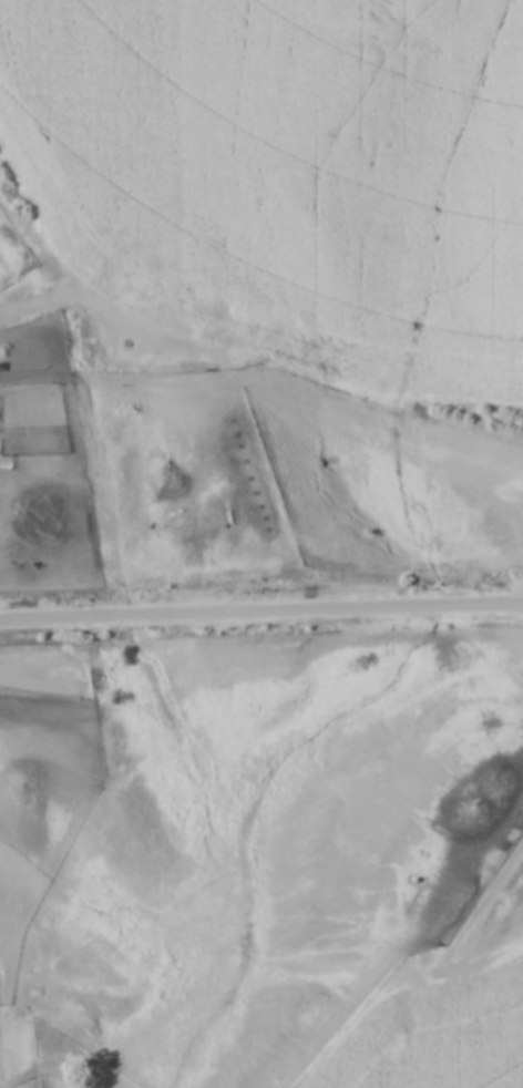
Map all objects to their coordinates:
road: (260, 610)

